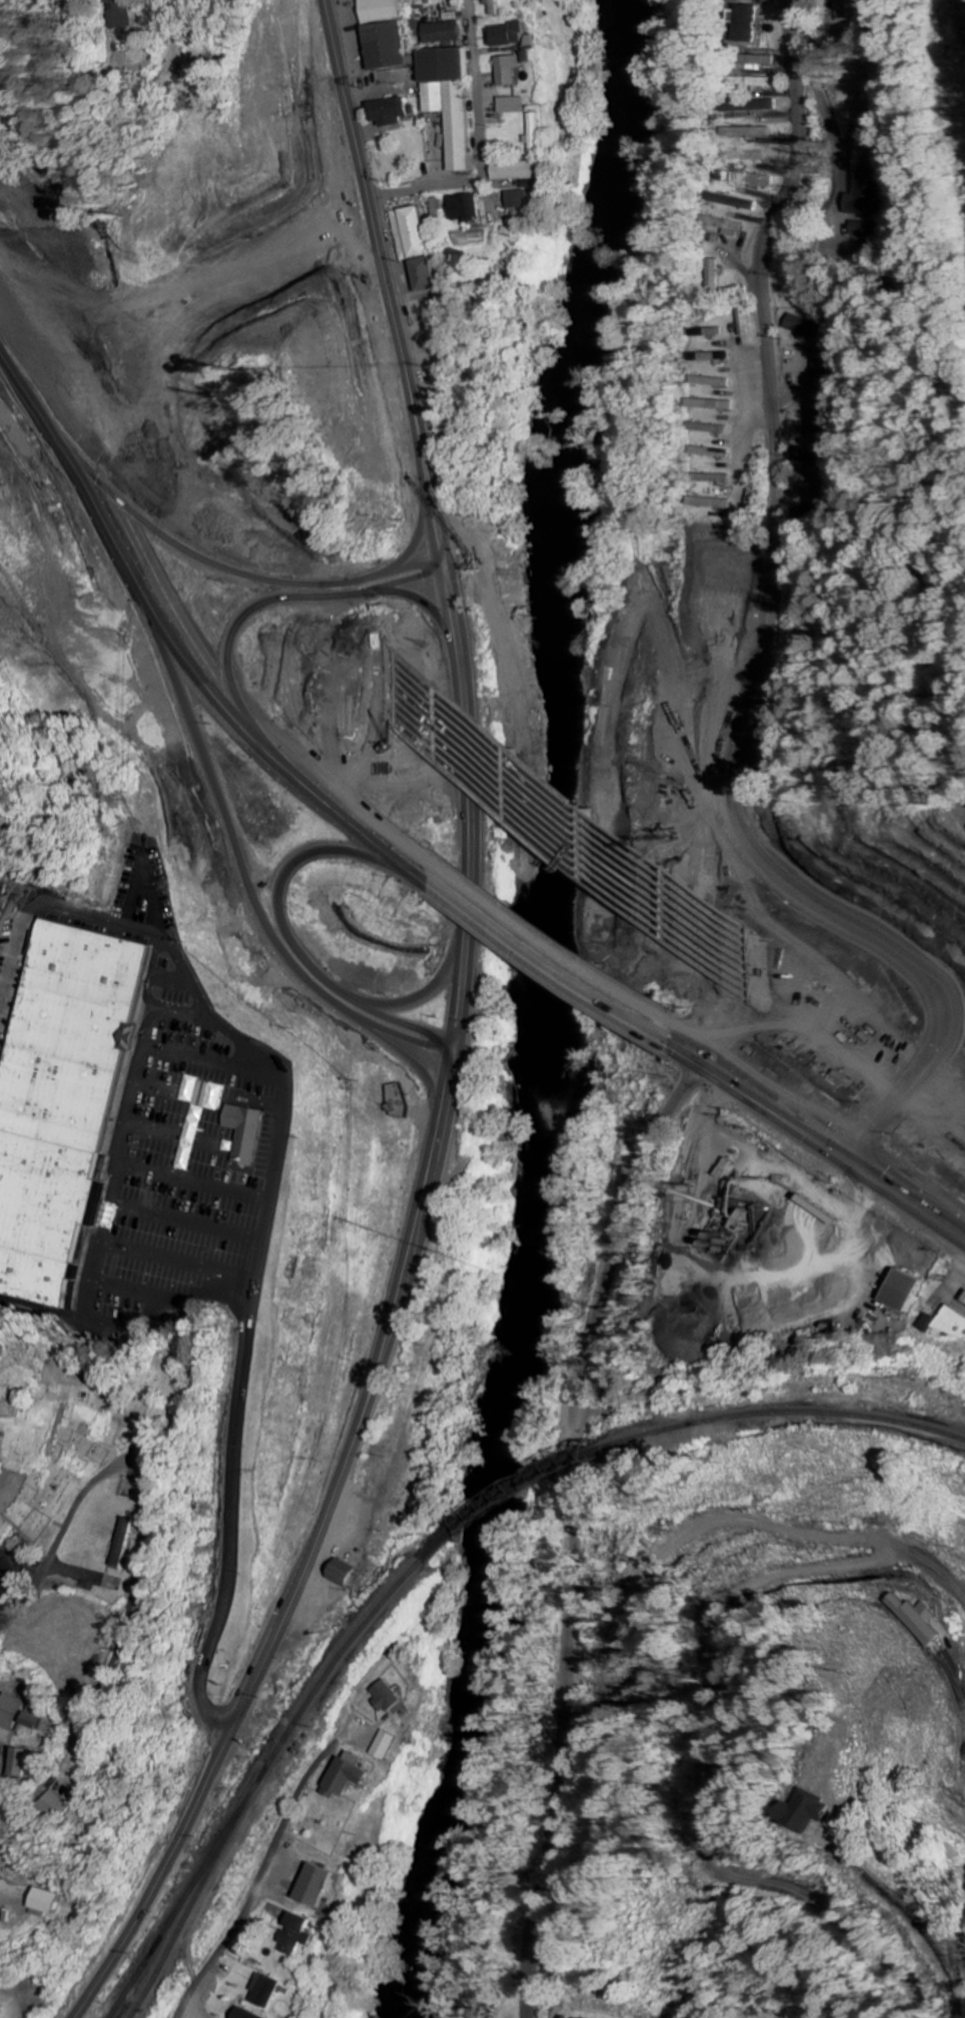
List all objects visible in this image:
building: (495, 6)
building: (448, 29)
road: (787, 30)
building: (508, 34)
building: (391, 35)
building: (762, 62)
building: (512, 69)
building: (763, 83)
building: (454, 100)
building: (515, 105)
building: (398, 111)
building: (538, 131)
building: (749, 155)
building: (521, 171)
building: (748, 178)
building: (864, 193)
building: (530, 198)
building: (736, 201)
building: (468, 207)
building: (421, 246)
building: (718, 274)
road: (384, 279)
building: (803, 326)
building: (712, 332)
building: (714, 382)
road: (51, 389)
building: (715, 405)
building: (713, 428)
building: (714, 453)
building: (805, 455)
road: (70, 459)
building: (716, 478)
building: (714, 503)
road: (260, 576)
road: (295, 653)
road: (759, 665)
road: (243, 702)
road: (271, 758)
road: (472, 821)
road: (244, 872)
road: (560, 944)
road: (295, 948)
road: (543, 964)
river: (555, 1014)
road: (403, 1027)
building: (20, 1115)
road: (819, 1120)
building: (249, 1134)
road: (806, 1139)
road: (612, 1252)
building: (910, 1291)
building: (964, 1296)
gas station: (964, 1296)
building: (948, 1325)
railway: (783, 1413)
railway: (508, 1497)
road: (148, 1508)
road: (764, 1541)
building: (125, 1543)
building: (1, 1564)
road: (304, 1568)
building: (347, 1575)
building: (918, 1621)
building: (389, 1698)
building: (10, 1711)
building: (34, 1721)
building: (389, 1746)
road: (567, 1752)
building: (20, 1764)
building: (351, 1777)
railway: (258, 1783)
building: (65, 1804)
building: (811, 1812)
road: (256, 1884)
building: (321, 1887)
building: (48, 1903)
railway: (179, 1934)
building: (300, 1935)
building: (270, 1992)
building: (257, 2016)

